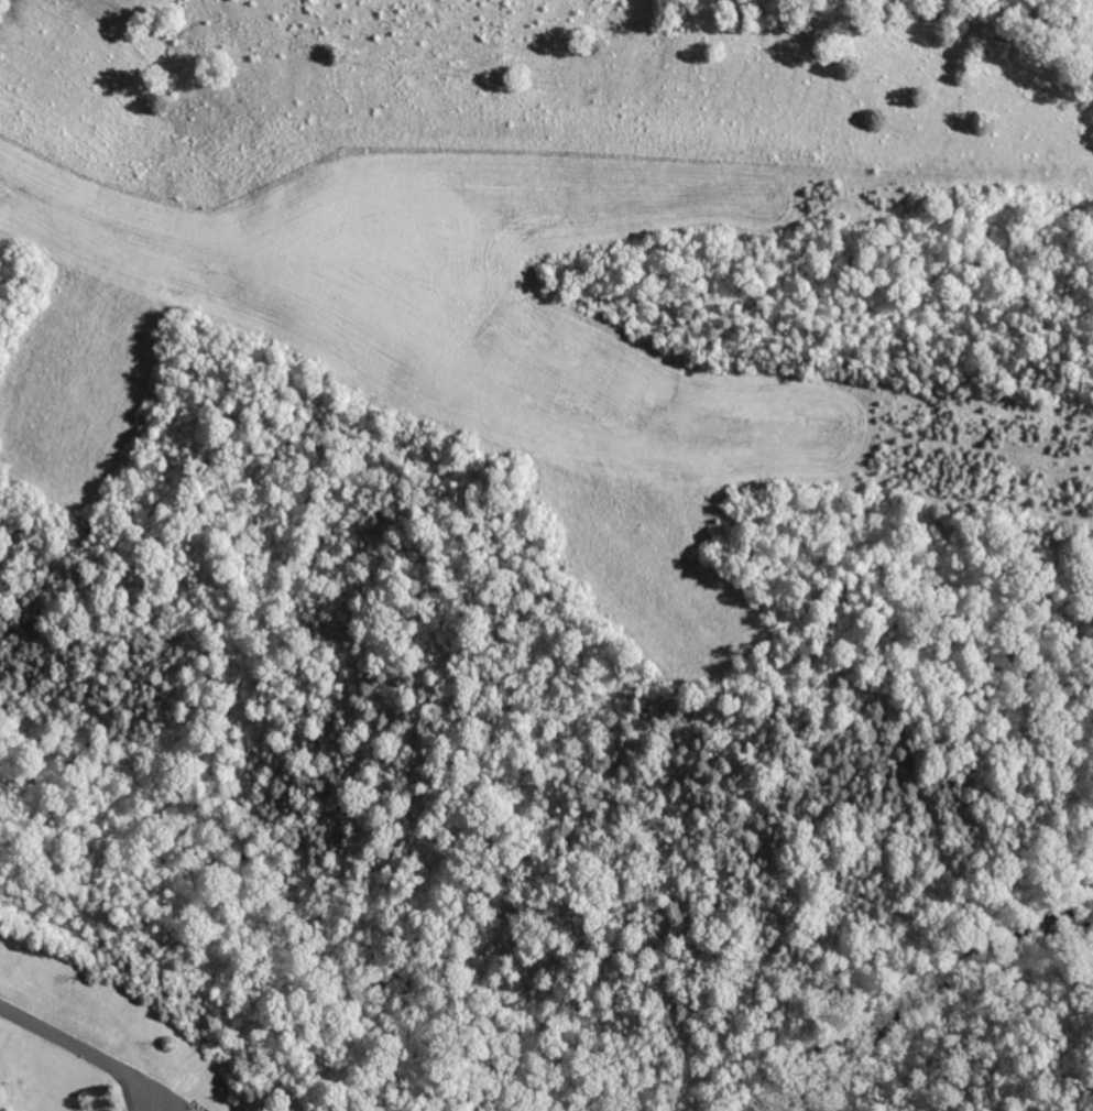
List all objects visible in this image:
road: (84, 1058)

